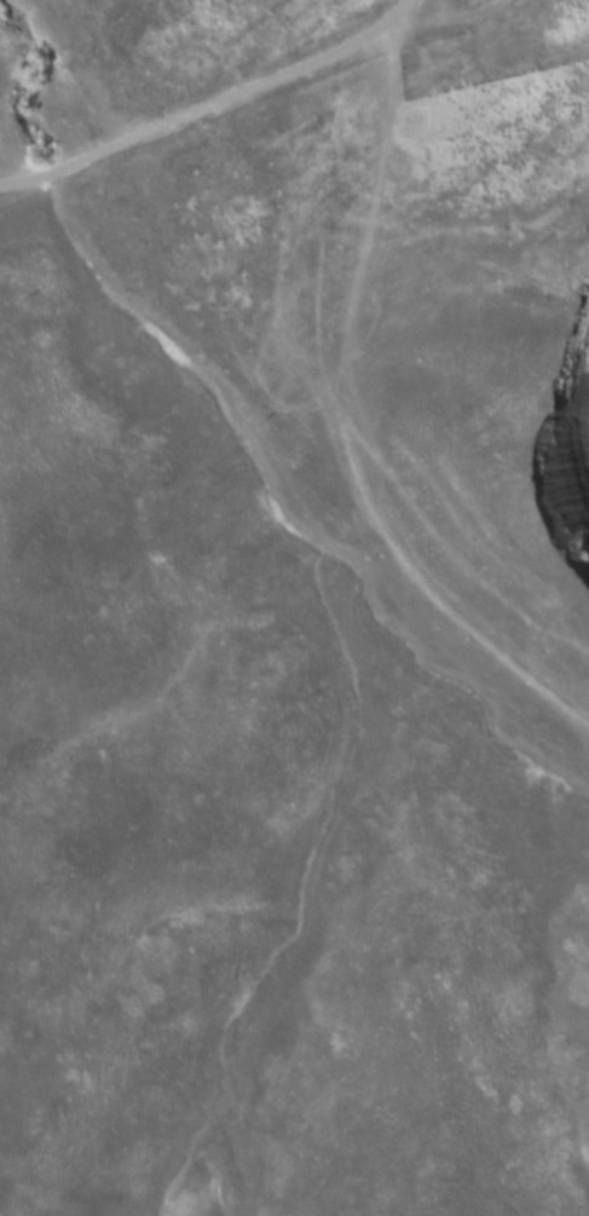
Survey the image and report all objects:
road: (212, 110)

